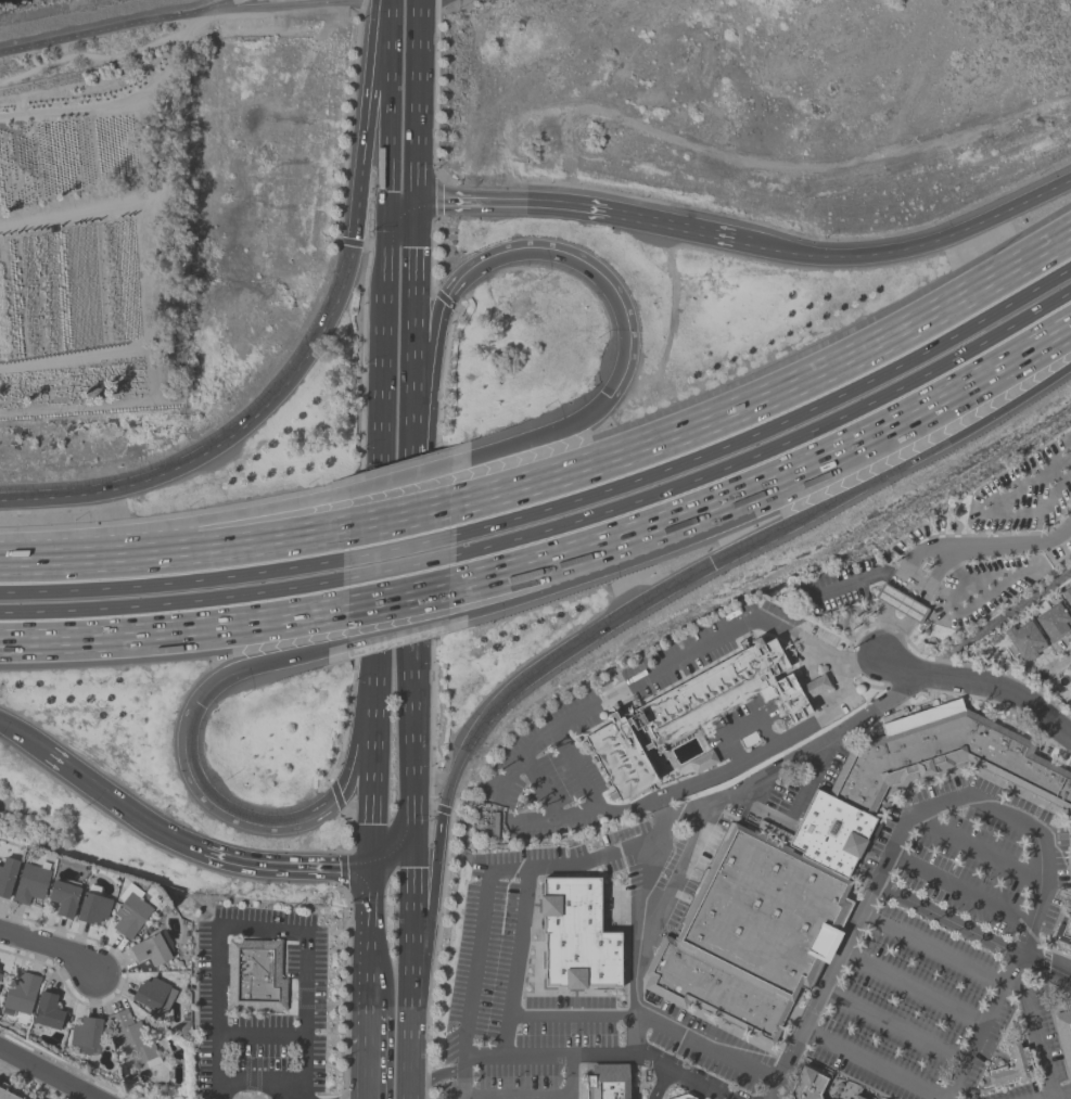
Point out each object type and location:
road: (424, 0)
road: (387, 3)
road: (217, 4)
road: (295, 5)
road: (101, 30)
road: (417, 101)
road: (387, 116)
traffic signals: (416, 203)
road: (518, 203)
road: (401, 214)
traffic signals: (388, 225)
crop: (79, 233)
road: (707, 233)
road: (938, 238)
road: (522, 253)
road: (413, 314)
road: (306, 352)
traffic signals: (609, 397)
road: (772, 401)
road: (770, 429)
road: (533, 438)
road: (382, 445)
road: (769, 451)
road: (1067, 453)
road: (894, 470)
road: (399, 477)
road: (770, 487)
road: (999, 515)
road: (398, 519)
road: (176, 523)
road: (410, 533)
road: (1012, 547)
road: (398, 548)
road: (175, 551)
traffic signals: (712, 562)
road: (397, 567)
road: (600, 570)
road: (175, 580)
road: (853, 582)
road: (915, 585)
road: (897, 587)
building: (1066, 597)
road: (396, 598)
road: (175, 603)
building: (901, 603)
road: (918, 609)
building: (1051, 623)
road: (397, 632)
road: (174, 635)
road: (582, 639)
building: (1022, 641)
road: (266, 661)
building: (1069, 685)
road: (979, 691)
road: (616, 693)
building: (1070, 693)
traffic signals: (194, 700)
building: (691, 714)
road: (743, 725)
road: (18, 731)
road: (413, 731)
road: (794, 756)
road: (741, 761)
building: (701, 762)
road: (575, 767)
road: (374, 768)
building: (917, 780)
road: (100, 788)
road: (539, 788)
road: (799, 804)
road: (286, 825)
road: (413, 831)
road: (902, 832)
traffic signals: (413, 842)
road: (437, 846)
road: (980, 851)
road: (392, 856)
road: (265, 865)
traffic signals: (371, 870)
building: (7, 874)
building: (30, 882)
road: (490, 885)
road: (960, 893)
building: (63, 897)
road: (411, 897)
building: (92, 908)
building: (129, 911)
building: (763, 913)
road: (643, 925)
building: (1066, 929)
road: (258, 930)
building: (575, 933)
road: (971, 935)
road: (370, 940)
road: (51, 948)
building: (152, 948)
road: (932, 950)
road: (514, 964)
building: (0, 970)
road: (1011, 973)
building: (254, 979)
road: (911, 989)
building: (18, 994)
building: (153, 994)
building: (714, 994)
road: (992, 1006)
building: (47, 1011)
road: (369, 1021)
road: (652, 1022)
road: (409, 1026)
road: (894, 1030)
road: (262, 1032)
building: (85, 1034)
road: (1035, 1035)
building: (132, 1037)
building: (1063, 1037)
road: (972, 1045)
road: (610, 1056)
road: (369, 1065)
road: (876, 1065)
building: (1009, 1069)
road: (438, 1073)
road: (43, 1075)
road: (956, 1082)
road: (660, 1083)
building: (604, 1084)
building: (807, 1085)
road: (262, 1086)
road: (356, 1094)
road: (288, 1095)
building: (4, 1096)
building: (687, 1097)
road: (732, 1097)
road: (520, 1098)
building: (856, 1098)
road: (1069, 1098)

